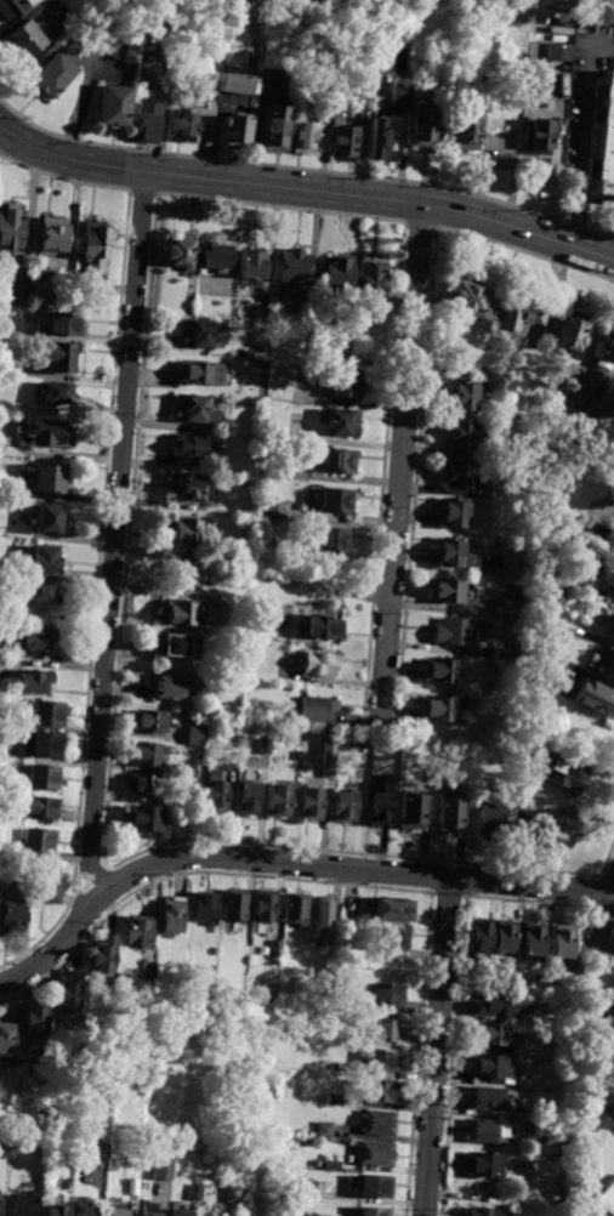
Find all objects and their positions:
building: (484, 7)
building: (12, 10)
building: (149, 32)
building: (28, 40)
building: (556, 51)
building: (56, 75)
building: (272, 79)
building: (432, 79)
building: (442, 79)
building: (237, 84)
building: (400, 93)
building: (115, 106)
building: (148, 120)
building: (425, 125)
building: (184, 126)
building: (274, 127)
building: (238, 130)
building: (465, 130)
road: (581, 132)
building: (305, 137)
building: (383, 137)
building: (343, 138)
building: (536, 138)
building: (606, 141)
building: (557, 147)
road: (68, 160)
road: (144, 192)
road: (382, 199)
building: (11, 232)
building: (53, 235)
building: (96, 245)
building: (182, 254)
building: (217, 255)
building: (254, 262)
building: (295, 267)
building: (339, 267)
building: (79, 275)
building: (376, 283)
building: (21, 291)
building: (46, 294)
building: (468, 297)
building: (516, 312)
building: (262, 314)
building: (68, 323)
building: (12, 325)
building: (569, 331)
building: (199, 334)
building: (604, 350)
building: (62, 356)
building: (263, 364)
building: (459, 366)
building: (203, 373)
building: (346, 383)
building: (59, 392)
building: (465, 396)
building: (576, 405)
building: (296, 407)
building: (599, 407)
building: (197, 409)
building: (342, 422)
building: (52, 432)
building: (464, 433)
building: (191, 447)
building: (587, 456)
building: (340, 461)
road: (400, 467)
building: (269, 473)
building: (460, 473)
building: (50, 478)
building: (0, 487)
building: (189, 488)
building: (339, 500)
building: (267, 511)
building: (456, 511)
building: (51, 518)
road: (103, 527)
building: (592, 530)
building: (188, 533)
building: (332, 539)
road: (114, 544)
building: (265, 545)
building: (457, 555)
building: (49, 559)
building: (580, 566)
building: (448, 591)
building: (42, 593)
building: (552, 596)
building: (505, 609)
building: (184, 612)
building: (602, 616)
building: (541, 624)
building: (323, 627)
building: (610, 630)
building: (243, 631)
building: (455, 631)
building: (254, 632)
building: (42, 638)
building: (176, 646)
building: (500, 653)
building: (319, 664)
building: (607, 669)
building: (443, 671)
building: (38, 682)
building: (171, 687)
building: (593, 699)
building: (317, 709)
building: (440, 709)
building: (49, 714)
building: (150, 721)
building: (198, 737)
building: (345, 739)
building: (44, 744)
building: (267, 744)
building: (347, 749)
building: (148, 754)
building: (300, 756)
building: (329, 758)
building: (189, 772)
building: (565, 774)
building: (44, 777)
building: (146, 785)
building: (216, 791)
building: (250, 799)
building: (282, 802)
building: (314, 803)
building: (382, 803)
building: (345, 807)
building: (42, 808)
building: (415, 813)
building: (454, 813)
building: (491, 820)
building: (149, 822)
building: (558, 831)
building: (39, 843)
road: (283, 863)
building: (49, 893)
building: (235, 904)
building: (204, 905)
building: (265, 905)
building: (296, 908)
building: (349, 910)
building: (394, 910)
building: (174, 916)
building: (11, 919)
road: (602, 922)
building: (324, 924)
building: (140, 932)
building: (505, 937)
building: (483, 938)
building: (535, 939)
building: (394, 941)
building: (563, 943)
building: (275, 948)
building: (106, 956)
building: (148, 971)
building: (513, 983)
building: (541, 983)
building: (70, 993)
building: (388, 995)
building: (315, 999)
building: (345, 1000)
building: (500, 1006)
building: (603, 1018)
building: (36, 1019)
building: (387, 1032)
building: (498, 1036)
building: (6, 1039)
road: (436, 1047)
building: (45, 1056)
building: (158, 1062)
building: (382, 1062)
building: (336, 1067)
building: (493, 1068)
building: (123, 1080)
building: (380, 1092)
building: (335, 1099)
building: (490, 1099)
building: (530, 1118)
building: (377, 1123)
building: (324, 1130)
building: (489, 1132)
building: (6, 1149)
building: (198, 1150)
building: (97, 1154)
building: (376, 1155)
building: (51, 1157)
building: (331, 1164)
building: (487, 1167)
building: (163, 1169)
building: (51, 1174)
building: (376, 1187)
building: (306, 1189)
building: (195, 1192)
building: (232, 1195)
building: (608, 1200)
building: (23, 1205)
building: (85, 1210)
building: (58, 1211)
building: (115, 1211)
building: (368, 1211)
building: (178, 1212)
building: (484, 1212)
building: (148, 1214)

